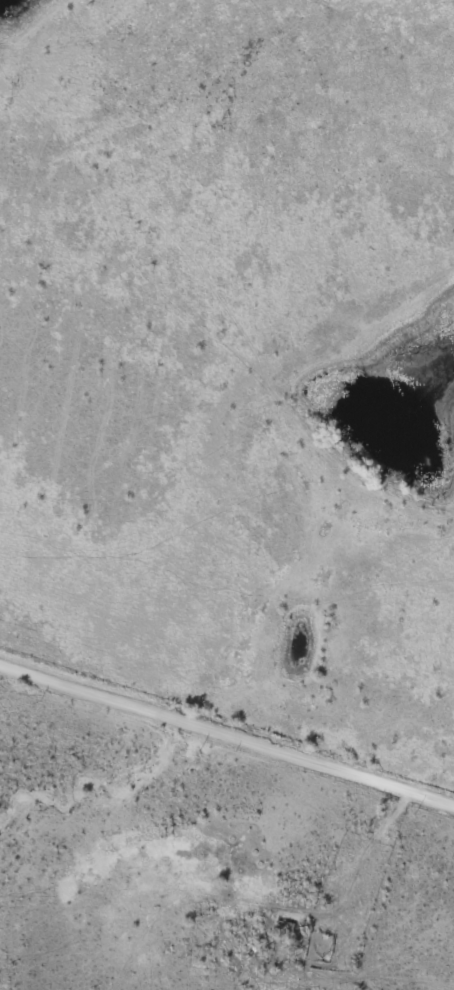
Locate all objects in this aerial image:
road: (227, 736)

